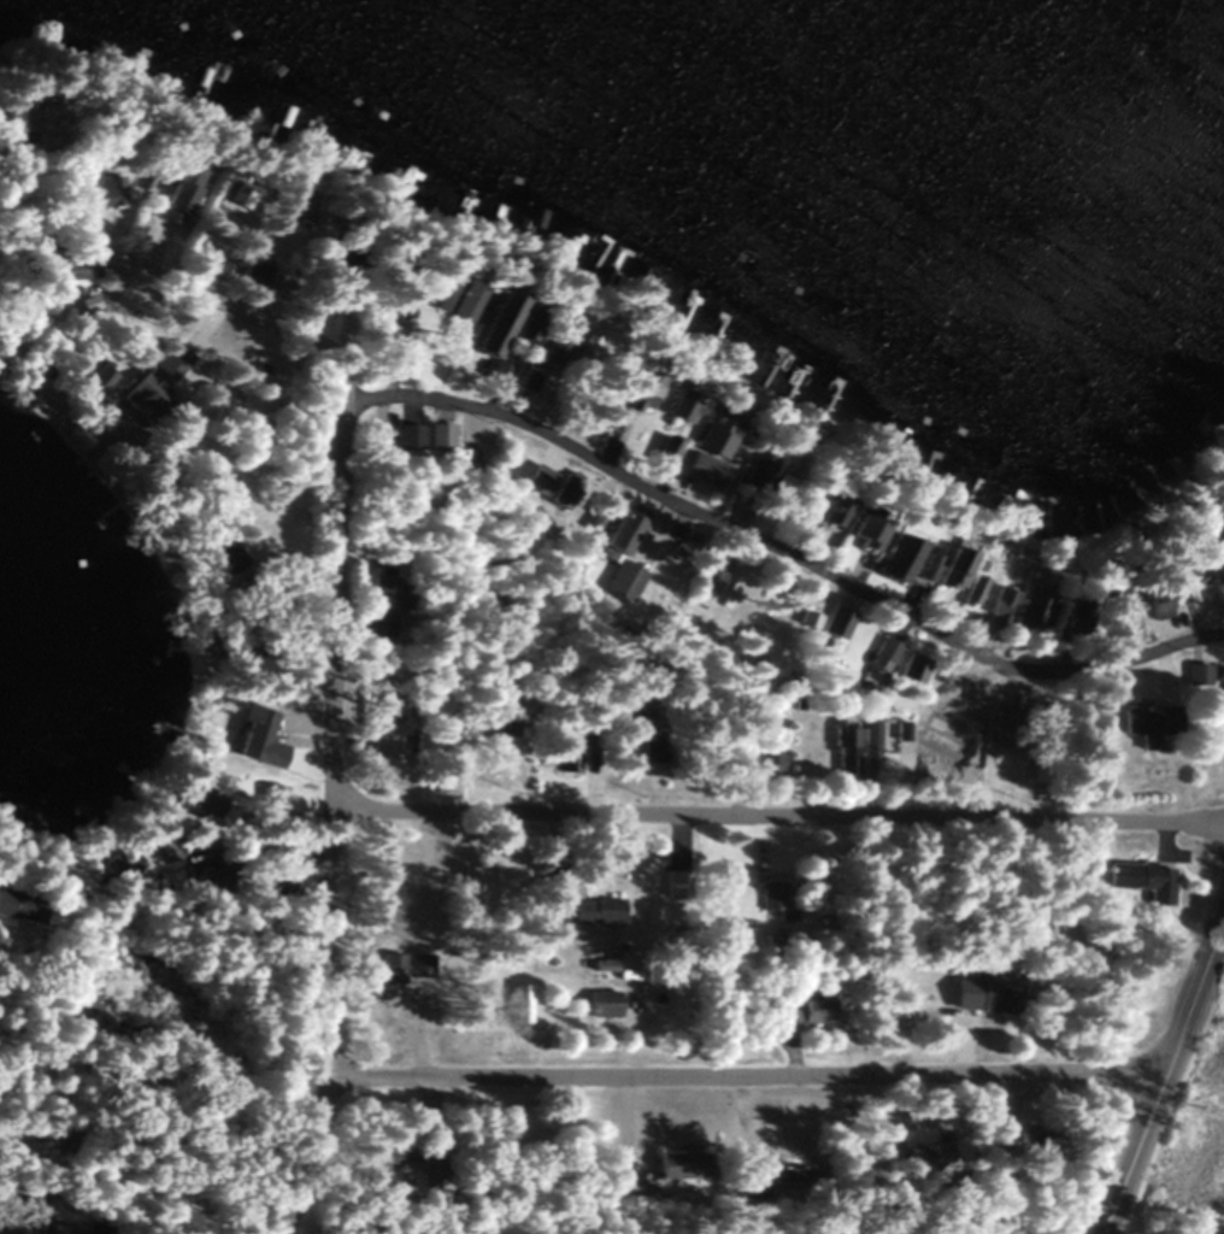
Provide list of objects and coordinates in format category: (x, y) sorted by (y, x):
building: (42, 121)
building: (175, 178)
building: (98, 190)
building: (234, 192)
building: (164, 241)
building: (75, 269)
building: (219, 271)
building: (249, 277)
building: (460, 300)
building: (548, 348)
building: (581, 352)
building: (169, 363)
building: (639, 378)
building: (90, 381)
building: (525, 382)
building: (140, 395)
building: (675, 405)
building: (437, 437)
building: (661, 451)
building: (705, 451)
road: (595, 466)
building: (748, 483)
building: (547, 486)
building: (799, 511)
building: (826, 512)
building: (1220, 527)
building: (620, 529)
building: (855, 533)
building: (890, 559)
building: (713, 566)
building: (940, 568)
building: (1183, 576)
building: (622, 578)
building: (969, 590)
building: (383, 599)
building: (996, 603)
building: (1152, 603)
building: (1113, 610)
building: (1030, 612)
building: (1069, 616)
building: (835, 624)
building: (882, 654)
building: (912, 669)
building: (1195, 674)
building: (972, 688)
building: (1218, 688)
building: (364, 711)
building: (498, 712)
building: (1147, 723)
building: (1002, 727)
building: (869, 735)
building: (845, 748)
building: (566, 751)
building: (201, 800)
road: (773, 821)
road: (324, 823)
building: (113, 866)
building: (206, 876)
building: (1146, 881)
building: (676, 885)
building: (643, 899)
building: (775, 899)
building: (18, 905)
building: (594, 910)
building: (405, 965)
building: (979, 993)
building: (601, 1004)
building: (802, 1011)
road: (1161, 1075)
road: (738, 1079)
building: (1028, 1142)
building: (678, 1167)

